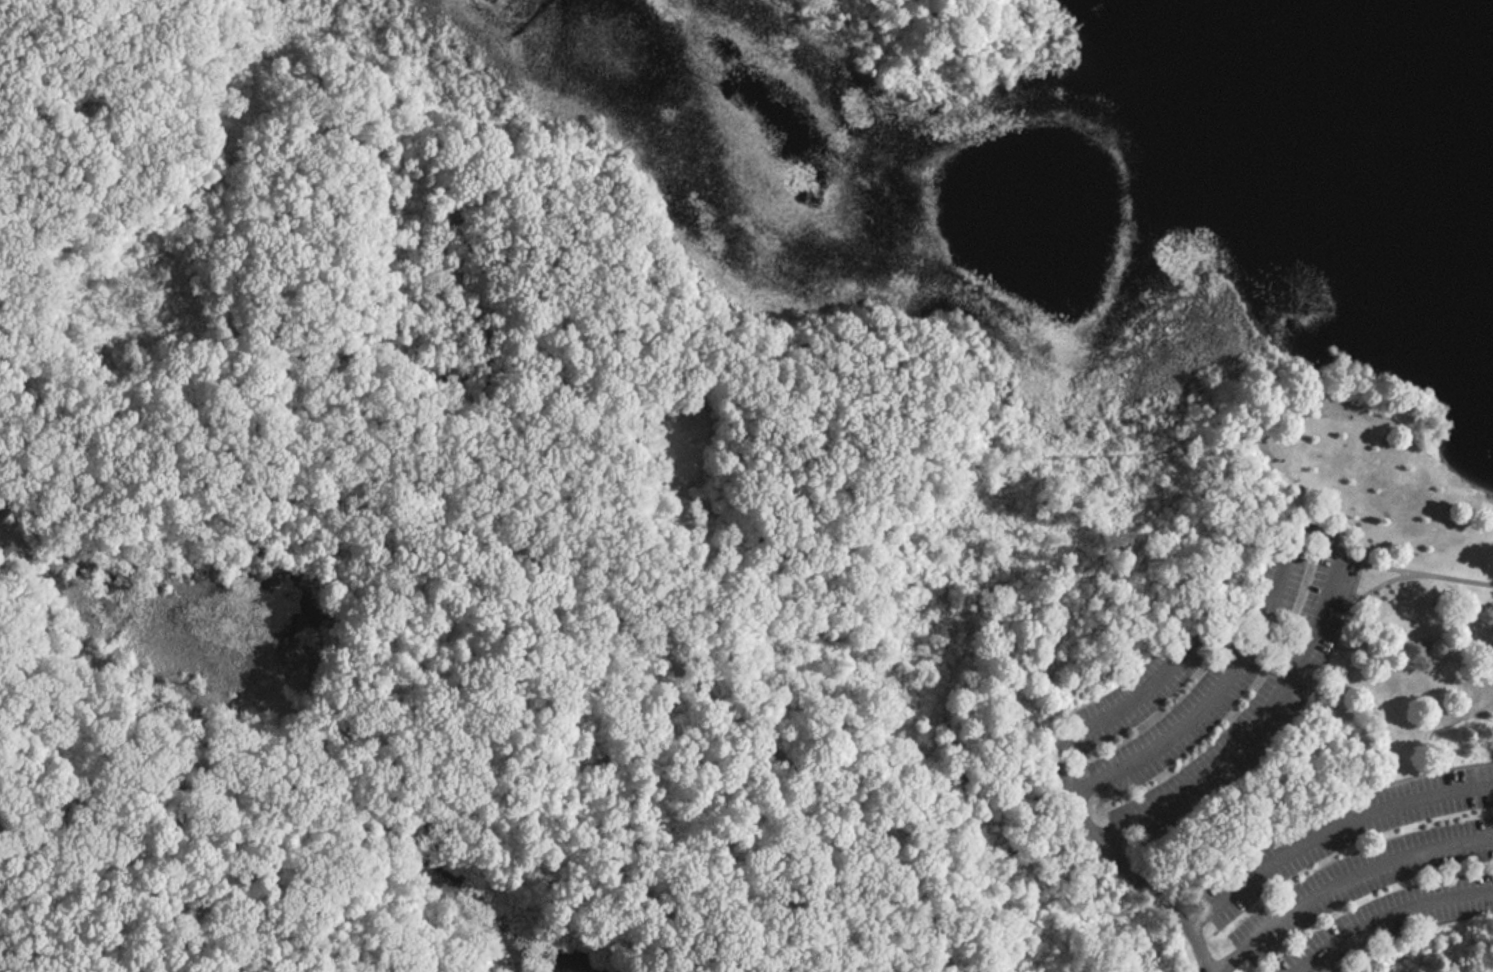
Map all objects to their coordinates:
road: (203, 24)
road: (262, 54)
road: (490, 176)
road: (826, 337)
road: (570, 451)
road: (1088, 453)
road: (1266, 465)
road: (247, 476)
park: (693, 514)
road: (1315, 530)
road: (1414, 571)
road: (1378, 586)
road: (1131, 694)
parking lot: (1196, 702)
road: (1274, 739)
road: (761, 741)
road: (391, 766)
road: (1322, 811)
road: (1313, 842)
parking lot: (1361, 874)
road: (1346, 883)
road: (1143, 884)
road: (1393, 920)
road: (1411, 933)
road: (271, 953)

